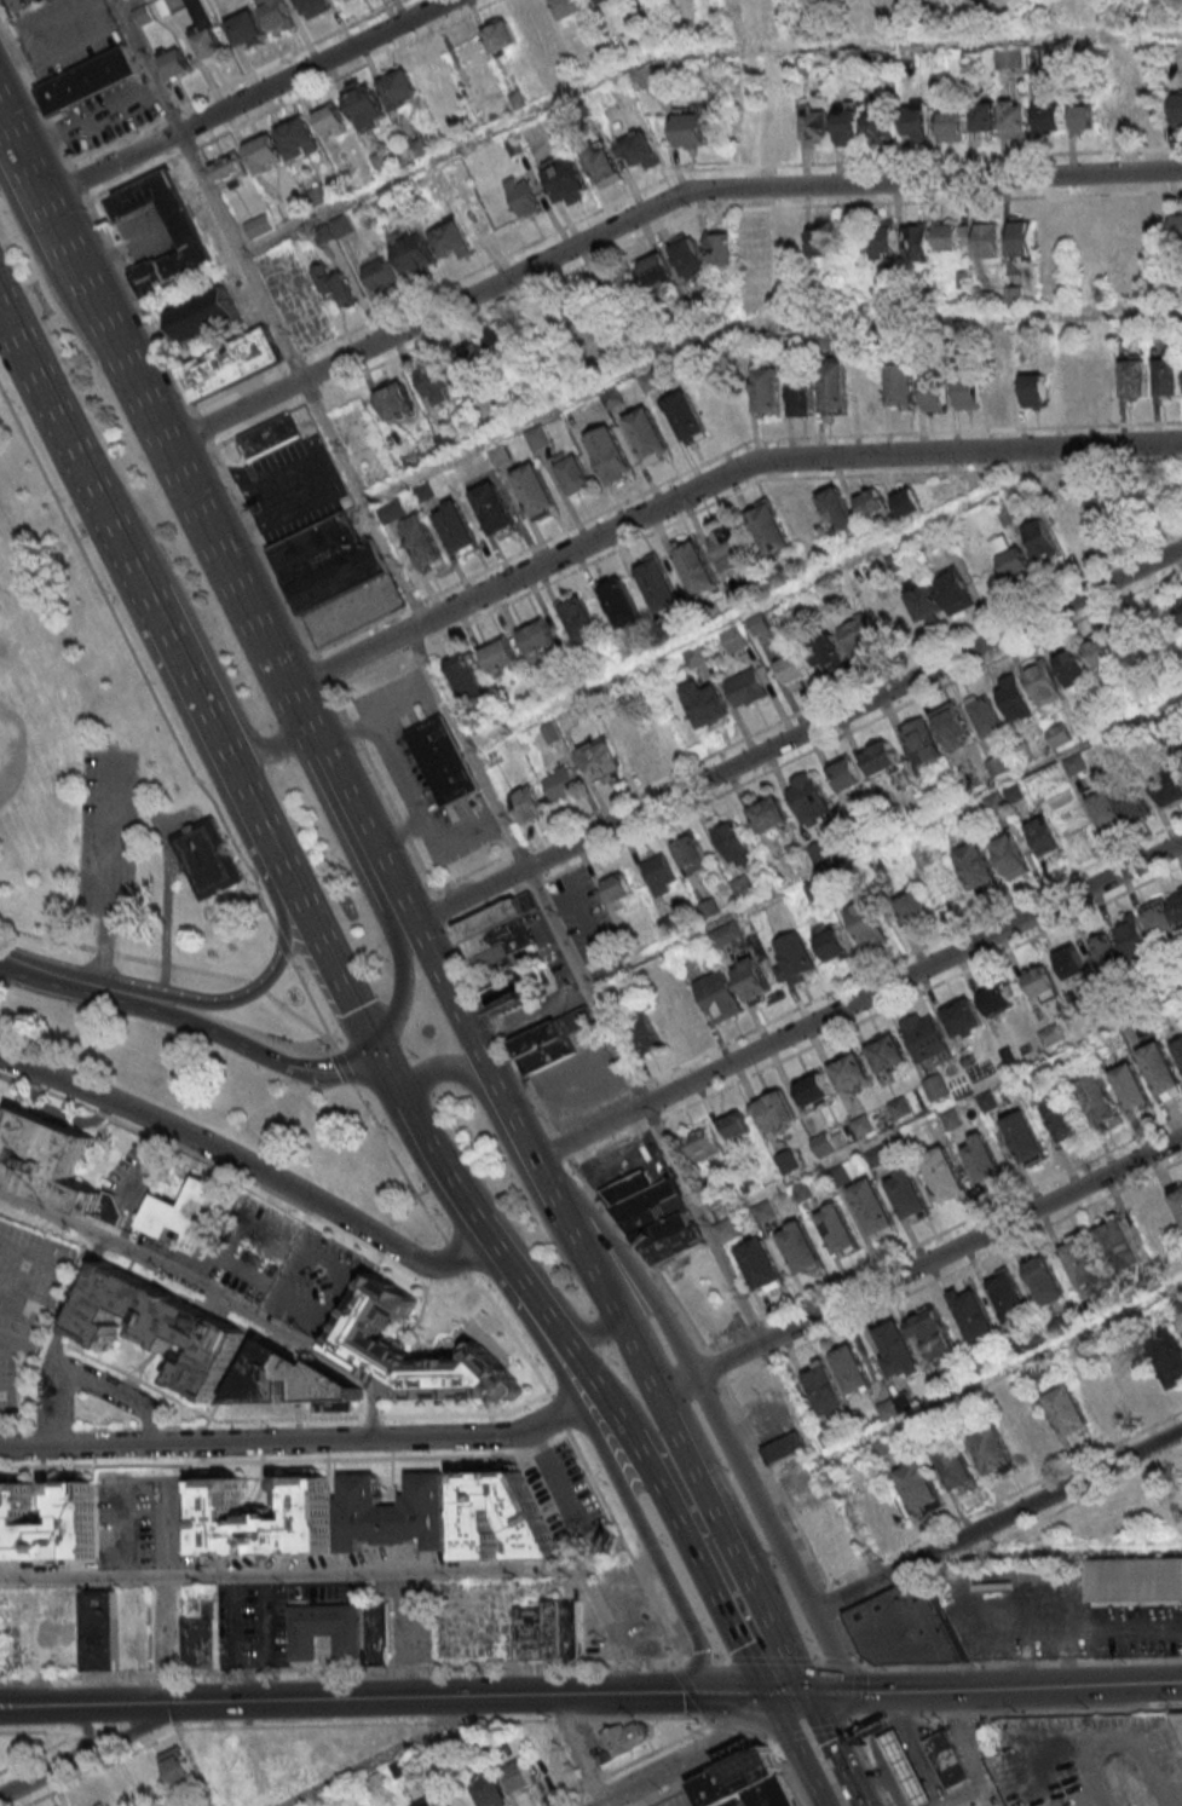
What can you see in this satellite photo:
building: (340, 0)
building: (605, 1)
road: (125, 4)
building: (316, 7)
building: (570, 7)
building: (278, 13)
building: (144, 16)
building: (202, 27)
building: (246, 28)
building: (41, 34)
building: (501, 35)
road: (686, 46)
building: (1009, 58)
building: (178, 63)
road: (144, 65)
building: (646, 75)
building: (87, 82)
building: (400, 88)
road: (244, 98)
road: (288, 99)
building: (367, 104)
building: (1113, 106)
building: (1177, 109)
building: (984, 116)
building: (331, 117)
building: (1050, 117)
building: (1083, 117)
building: (1015, 119)
building: (917, 120)
building: (849, 122)
building: (692, 123)
building: (817, 125)
building: (951, 125)
building: (783, 126)
building: (746, 127)
building: (882, 127)
building: (299, 139)
building: (640, 149)
building: (248, 162)
building: (605, 163)
building: (567, 181)
road: (720, 191)
building: (523, 195)
building: (1177, 225)
building: (341, 226)
building: (189, 236)
building: (952, 236)
building: (1022, 236)
building: (988, 237)
building: (884, 238)
building: (824, 240)
building: (454, 241)
building: (917, 241)
building: (721, 248)
building: (756, 248)
building: (416, 253)
building: (688, 256)
building: (659, 269)
building: (380, 275)
road: (50, 284)
building: (334, 284)
building: (621, 289)
road: (292, 293)
building: (202, 313)
building: (572, 313)
road: (304, 321)
road: (751, 325)
building: (504, 342)
building: (477, 363)
building: (230, 364)
building: (1169, 374)
road: (299, 376)
building: (1135, 377)
building: (835, 383)
building: (439, 385)
building: (901, 386)
building: (766, 390)
building: (867, 390)
building: (1036, 390)
building: (1002, 391)
building: (934, 394)
building: (969, 394)
building: (802, 397)
building: (396, 400)
road: (231, 411)
building: (685, 416)
building: (648, 434)
building: (269, 435)
building: (612, 454)
road: (784, 460)
road: (79, 465)
building: (572, 472)
building: (536, 490)
building: (909, 502)
building: (873, 504)
road: (195, 509)
building: (495, 509)
building: (838, 509)
building: (1077, 527)
building: (457, 529)
building: (771, 529)
road: (79, 533)
building: (1042, 540)
building: (422, 542)
building: (728, 548)
building: (1010, 555)
building: (324, 564)
building: (696, 565)
building: (658, 582)
road: (773, 595)
building: (940, 595)
building: (621, 601)
building: (1178, 611)
building: (581, 619)
building: (895, 619)
building: (760, 623)
road: (196, 633)
building: (858, 633)
building: (537, 636)
building: (734, 639)
building: (1130, 640)
building: (826, 652)
building: (498, 653)
road: (353, 654)
building: (696, 656)
building: (1100, 656)
road: (133, 662)
building: (1073, 667)
building: (795, 670)
building: (465, 675)
building: (1043, 680)
building: (746, 687)
building: (1014, 697)
building: (707, 703)
road: (852, 705)
building: (984, 712)
road: (345, 719)
building: (953, 725)
building: (1060, 734)
building: (641, 739)
building: (922, 742)
road: (465, 748)
road: (221, 751)
building: (1181, 755)
building: (881, 757)
building: (443, 758)
building: (600, 761)
building: (846, 772)
building: (561, 783)
building: (1169, 786)
building: (1014, 794)
building: (808, 797)
building: (1134, 801)
building: (527, 803)
building: (996, 803)
building: (1107, 808)
building: (771, 815)
road: (136, 817)
building: (965, 817)
parking lot: (105, 832)
building: (1045, 836)
road: (883, 839)
building: (733, 841)
building: (691, 853)
building: (204, 856)
power substation: (204, 856)
building: (1011, 858)
building: (978, 867)
building: (659, 873)
road: (104, 879)
building: (617, 885)
building: (743, 887)
park: (144, 892)
road: (467, 893)
road: (163, 904)
building: (912, 906)
building: (1177, 906)
road: (403, 911)
building: (1159, 917)
building: (866, 923)
building: (498, 931)
building: (726, 934)
building: (1134, 935)
road: (38, 936)
building: (831, 941)
road: (281, 942)
building: (1103, 948)
building: (794, 958)
building: (1072, 960)
road: (161, 962)
road: (328, 964)
road: (913, 974)
road: (71, 977)
building: (753, 979)
road: (156, 982)
building: (1042, 982)
road: (254, 985)
road: (584, 985)
road: (254, 986)
road: (400, 987)
building: (518, 992)
building: (719, 996)
building: (998, 998)
road: (310, 1005)
building: (680, 1012)
road: (295, 1016)
building: (963, 1016)
road: (145, 1017)
building: (641, 1032)
building: (1054, 1033)
building: (924, 1034)
building: (549, 1040)
building: (1178, 1048)
traffic signals: (373, 1049)
building: (887, 1051)
road: (256, 1054)
road: (341, 1068)
building: (1161, 1069)
building: (851, 1072)
building: (1131, 1086)
building: (936, 1087)
building: (814, 1089)
building: (1101, 1101)
road: (941, 1106)
building: (777, 1109)
building: (1065, 1119)
road: (411, 1123)
building: (737, 1125)
road: (589, 1132)
building: (1026, 1138)
building: (823, 1143)
building: (702, 1144)
building: (984, 1158)
road: (511, 1159)
road: (393, 1164)
road: (249, 1166)
building: (51, 1169)
building: (942, 1175)
parking lot: (133, 1177)
road: (546, 1182)
road: (417, 1192)
building: (909, 1193)
building: (1177, 1198)
road: (300, 1207)
building: (873, 1208)
building: (186, 1214)
building: (656, 1217)
building: (726, 1230)
building: (838, 1230)
road: (515, 1240)
building: (1120, 1245)
building: (801, 1248)
parking lot: (250, 1252)
road: (451, 1257)
building: (1082, 1259)
building: (762, 1264)
road: (918, 1265)
parking lot: (22, 1274)
road: (461, 1280)
building: (1046, 1280)
parking lot: (313, 1285)
road: (50, 1288)
building: (1009, 1294)
road: (212, 1296)
road: (21, 1302)
road: (329, 1311)
road: (456, 1312)
building: (974, 1312)
building: (157, 1328)
road: (552, 1329)
road: (422, 1331)
building: (934, 1334)
building: (356, 1337)
road: (463, 1338)
road: (56, 1339)
road: (483, 1341)
road: (761, 1343)
building: (898, 1350)
building: (1169, 1355)
building: (852, 1368)
road: (1001, 1372)
building: (290, 1380)
parking lot: (6, 1381)
building: (826, 1390)
road: (115, 1395)
road: (704, 1398)
building: (896, 1406)
building: (1068, 1410)
road: (557, 1412)
road: (713, 1413)
road: (379, 1415)
road: (152, 1426)
building: (1032, 1427)
road: (302, 1439)
building: (785, 1447)
building: (992, 1450)
road: (286, 1460)
building: (956, 1465)
road: (610, 1470)
building: (572, 1483)
building: (919, 1488)
parking lot: (572, 1493)
road: (546, 1499)
building: (394, 1513)
building: (261, 1516)
building: (527, 1516)
building: (80, 1519)
road: (996, 1521)
parking lot: (146, 1522)
road: (759, 1534)
building: (830, 1537)
road: (627, 1548)
road: (725, 1570)
road: (289, 1574)
building: (1137, 1579)
road: (232, 1588)
road: (162, 1591)
building: (557, 1628)
road: (609, 1628)
building: (909, 1628)
building: (99, 1629)
building: (324, 1629)
building: (575, 1629)
road: (1094, 1629)
building: (382, 1633)
building: (535, 1633)
building: (198, 1640)
building: (0, 1648)
road: (723, 1663)
road: (702, 1664)
road: (774, 1664)
road: (823, 1666)
road: (844, 1666)
road: (685, 1667)
road: (861, 1667)
road: (339, 1669)
road: (864, 1669)
road: (1016, 1687)
road: (727, 1691)
road: (696, 1692)
traffic signals: (786, 1692)
road: (819, 1692)
road: (553, 1694)
road: (861, 1695)
road: (310, 1698)
road: (174, 1703)
road: (120, 1704)
road: (38, 1706)
road: (1014, 1713)
road: (160, 1714)
road: (438, 1720)
road: (713, 1720)
building: (1180, 1721)
road: (144, 1726)
road: (86, 1727)
road: (110, 1727)
road: (86, 1730)
road: (39, 1731)
road: (739, 1732)
road: (811, 1736)
road: (110, 1739)
building: (622, 1741)
road: (835, 1742)
road: (771, 1744)
road: (967, 1748)
road: (798, 1750)
road: (693, 1758)
road: (376, 1760)
building: (951, 1760)
road: (867, 1761)
building: (179, 1767)
building: (909, 1767)
road: (784, 1772)
road: (41, 1773)
building: (519, 1776)
building: (748, 1782)
building: (490, 1790)
building: (88, 1801)
building: (423, 1802)
road: (602, 1802)
building: (62, 1805)

